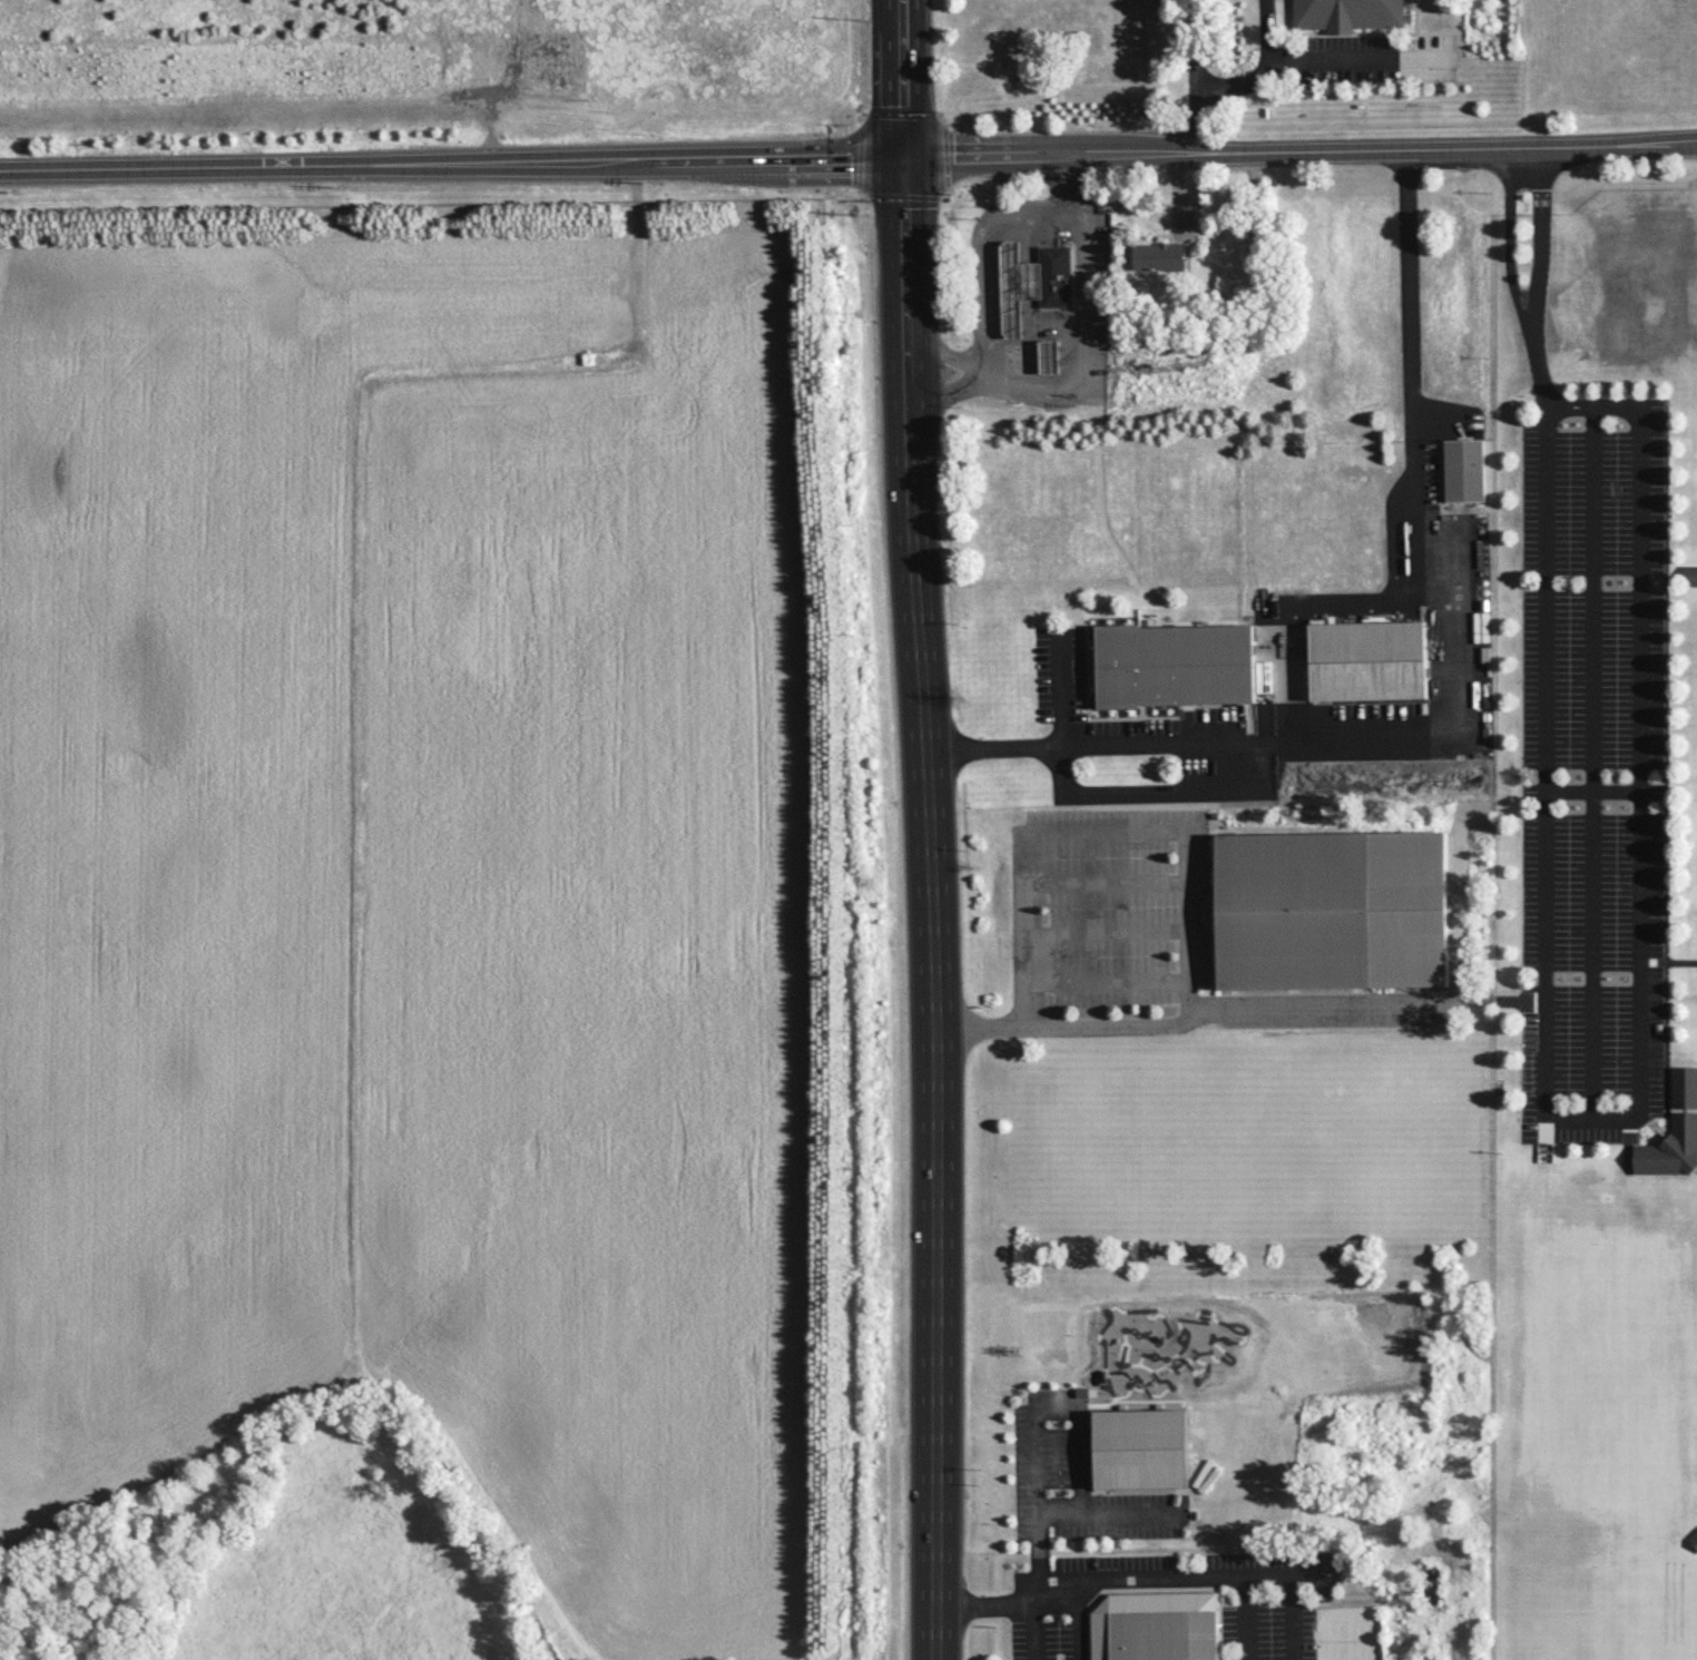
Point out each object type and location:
building: (1347, 13)
road: (1286, 53)
road: (1199, 80)
road: (1384, 156)
traffic signals: (902, 163)
road: (987, 163)
road: (451, 167)
road: (1072, 190)
road: (1542, 234)
road: (1509, 236)
road: (980, 248)
building: (1157, 256)
building: (1056, 278)
building: (1017, 287)
road: (1080, 354)
building: (1049, 358)
road: (1537, 363)
road: (975, 366)
building: (1463, 470)
road: (1640, 530)
building: (1690, 574)
building: (1367, 659)
building: (1173, 664)
road: (1453, 698)
building: (1167, 709)
road: (1593, 766)
parking lot: (1592, 769)
road: (1142, 792)
road: (928, 829)
road: (1165, 831)
building: (1328, 910)
road: (1669, 962)
road: (1237, 1011)
building: (1674, 1130)
park: (1087, 1148)
park: (1355, 1148)
park: (1222, 1149)
road: (1456, 1375)
park: (1606, 1378)
park: (1303, 1403)
road: (1036, 1411)
building: (1151, 1447)
building: (1694, 1539)
road: (1093, 1576)
road: (1292, 1595)
park: (1603, 1613)
road: (1248, 1617)
road: (1076, 1620)
building: (1164, 1623)
road: (1424, 1628)
road: (1032, 1629)
park: (1361, 1633)
road: (1440, 1643)
road: (1411, 1647)

